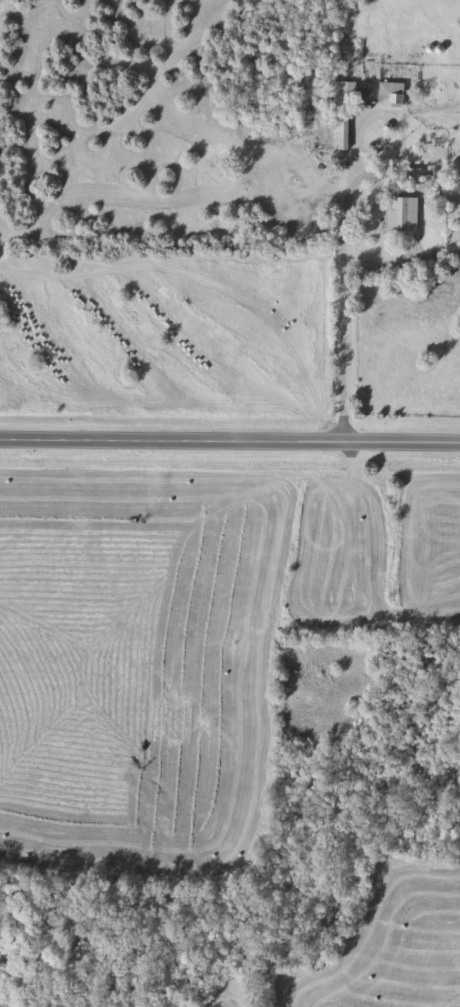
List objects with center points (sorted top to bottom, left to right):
building: (343, 92)
building: (391, 94)
building: (340, 133)
building: (415, 176)
building: (402, 215)
road: (339, 305)
road: (230, 443)

